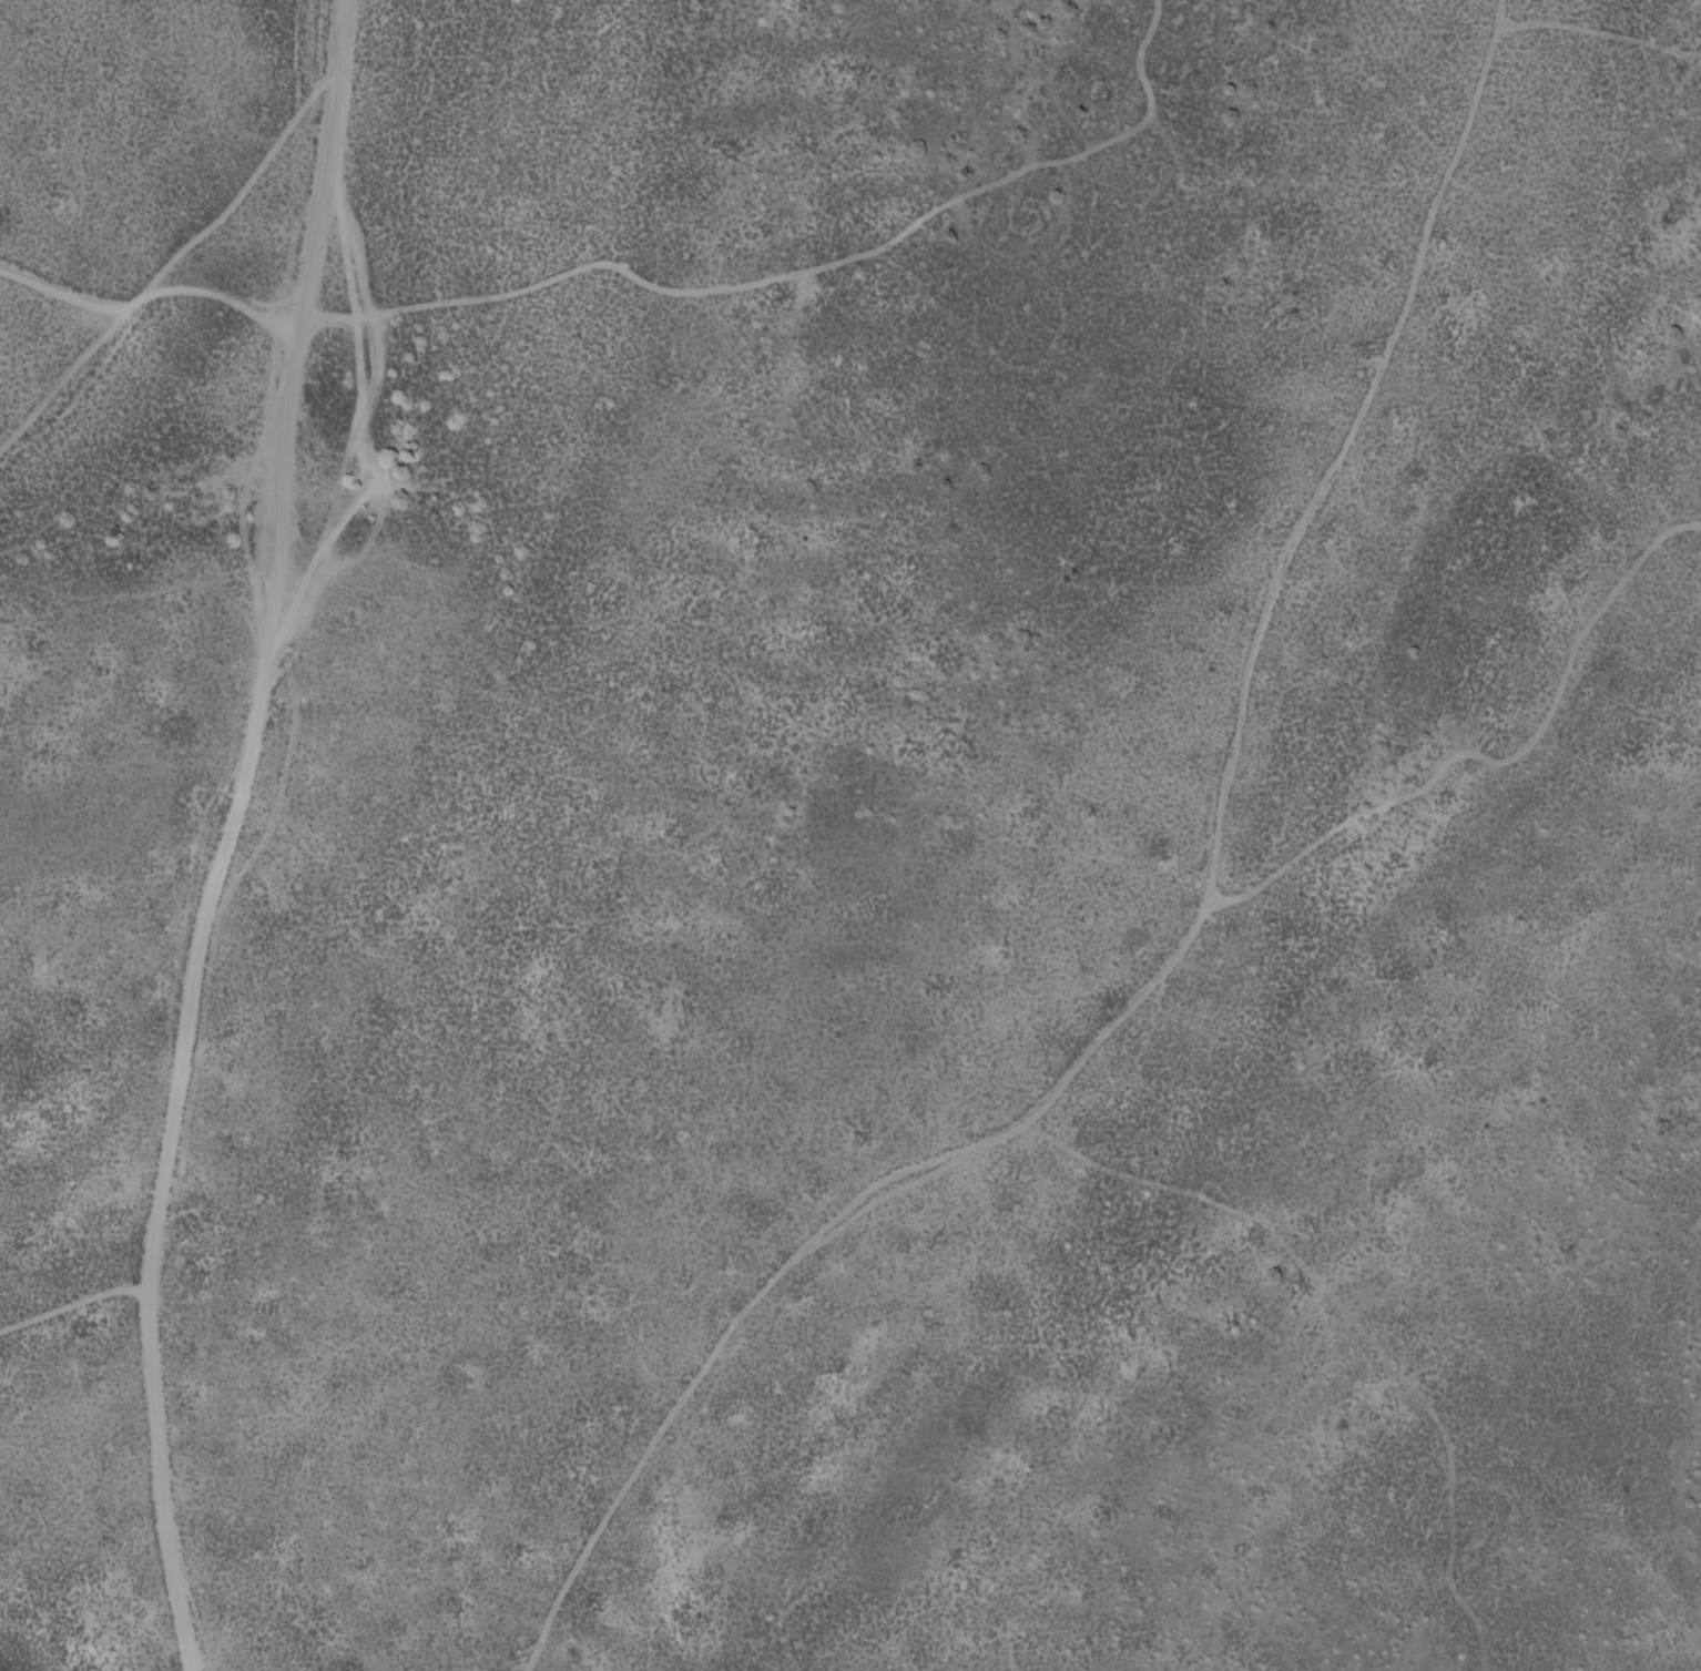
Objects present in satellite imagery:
road: (146, 256)
road: (55, 319)
road: (224, 831)
road: (1188, 931)

